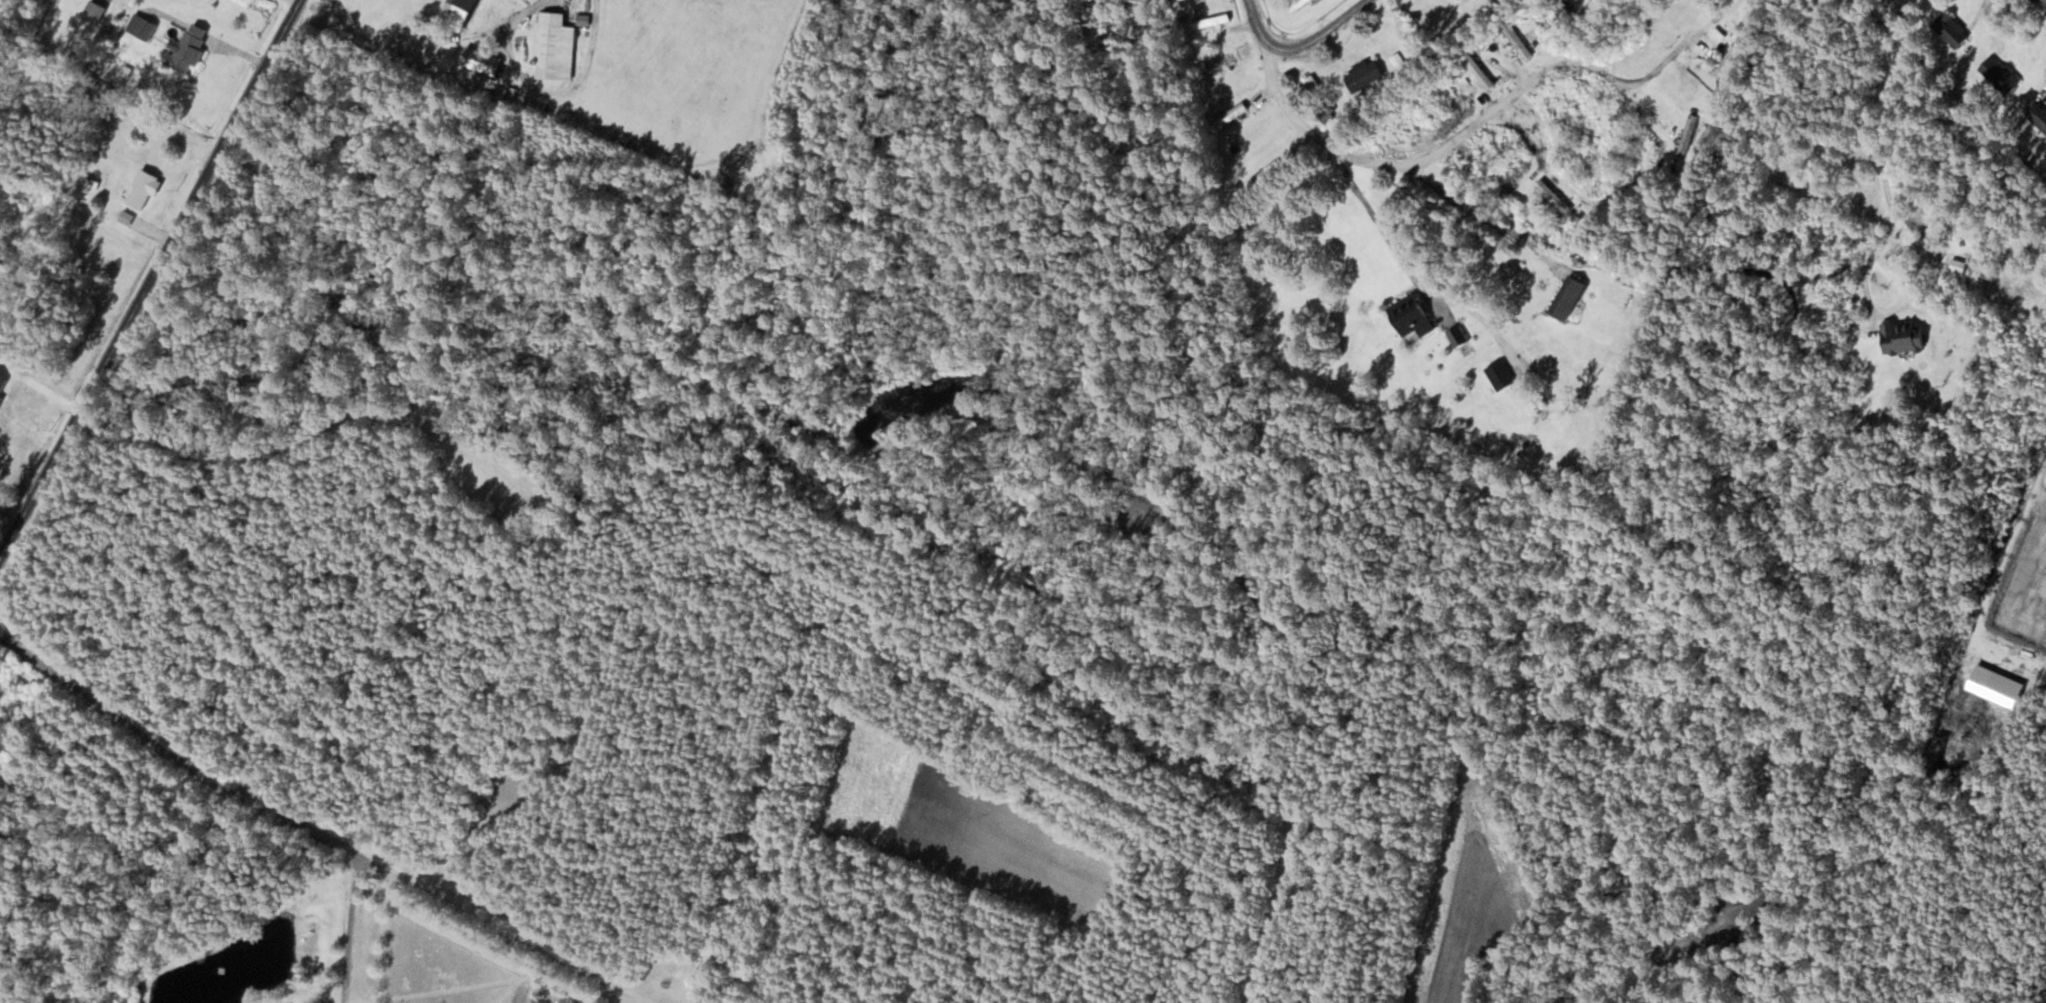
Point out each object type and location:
road: (298, 1)
building: (1297, 4)
building: (457, 13)
building: (1952, 29)
building: (1517, 40)
road: (1297, 45)
building: (555, 46)
building: (188, 48)
building: (1398, 59)
building: (1727, 59)
building: (481, 60)
building: (1219, 62)
building: (1478, 70)
building: (1364, 74)
building: (2000, 74)
road: (1500, 103)
building: (1428, 109)
building: (1230, 115)
road: (1888, 121)
road: (520, 133)
building: (1688, 133)
building: (1498, 156)
building: (141, 190)
building: (1553, 196)
building: (1958, 265)
road: (152, 282)
building: (1568, 297)
road: (1890, 314)
building: (1411, 316)
building: (1904, 336)
building: (1500, 374)

